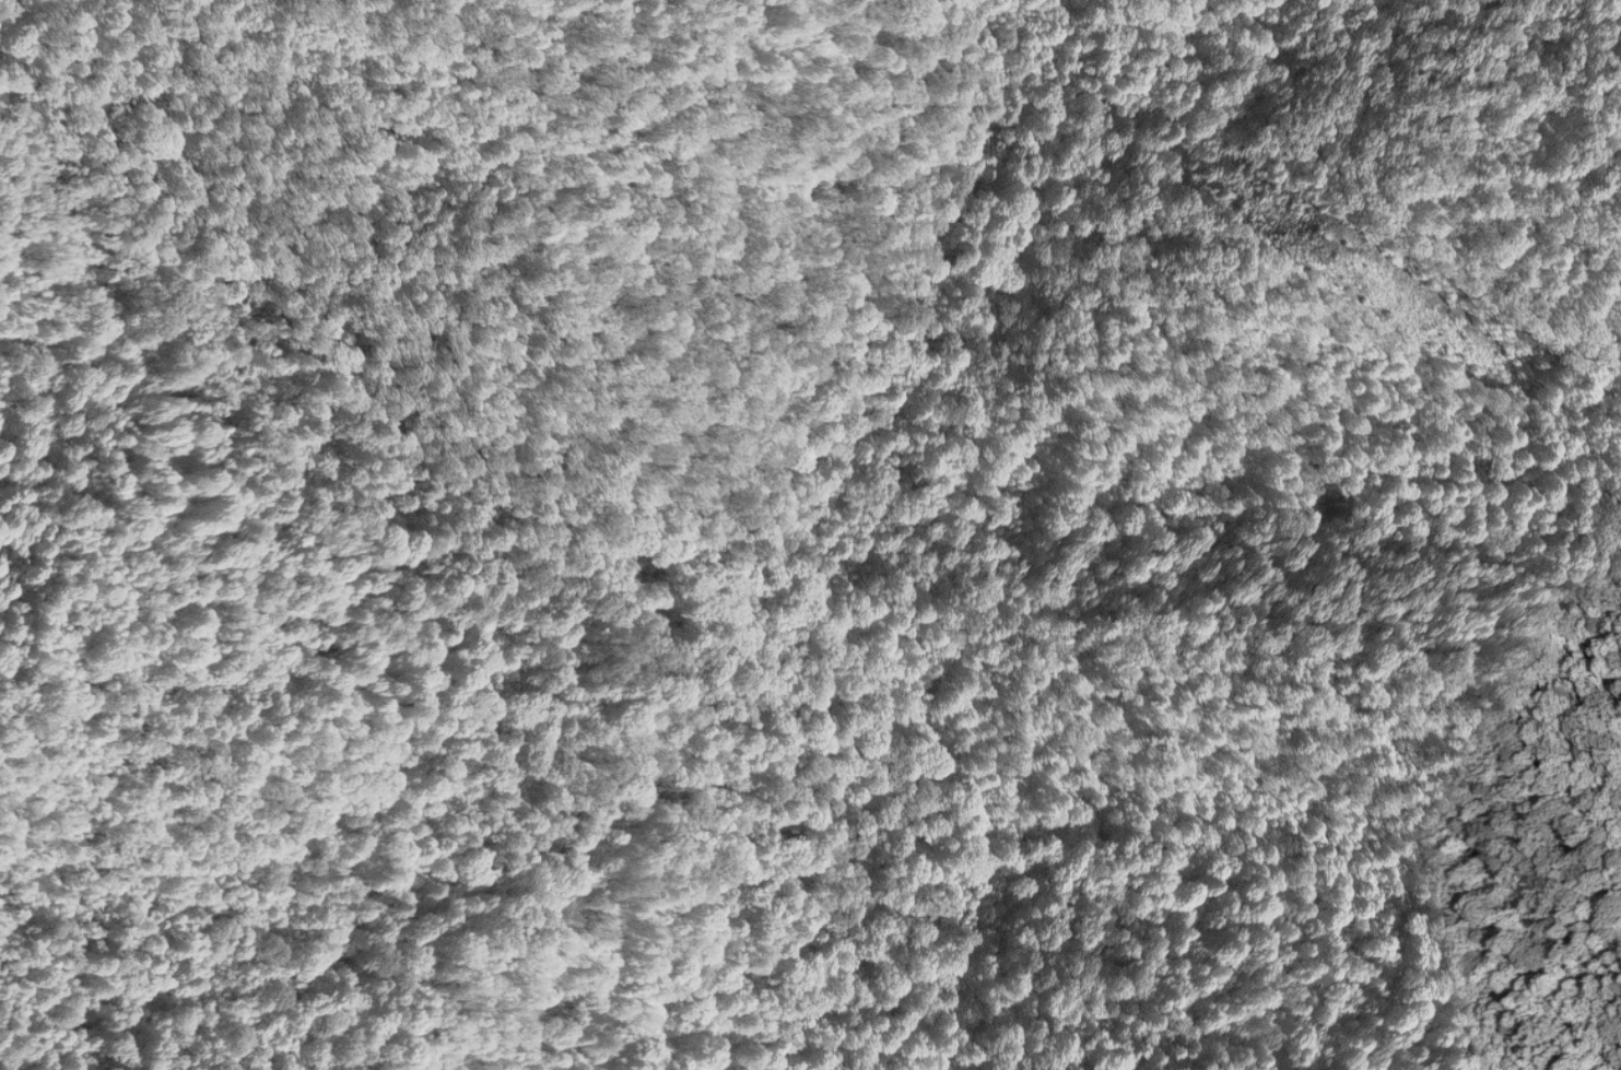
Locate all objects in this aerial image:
power tower: (1317, 252)

